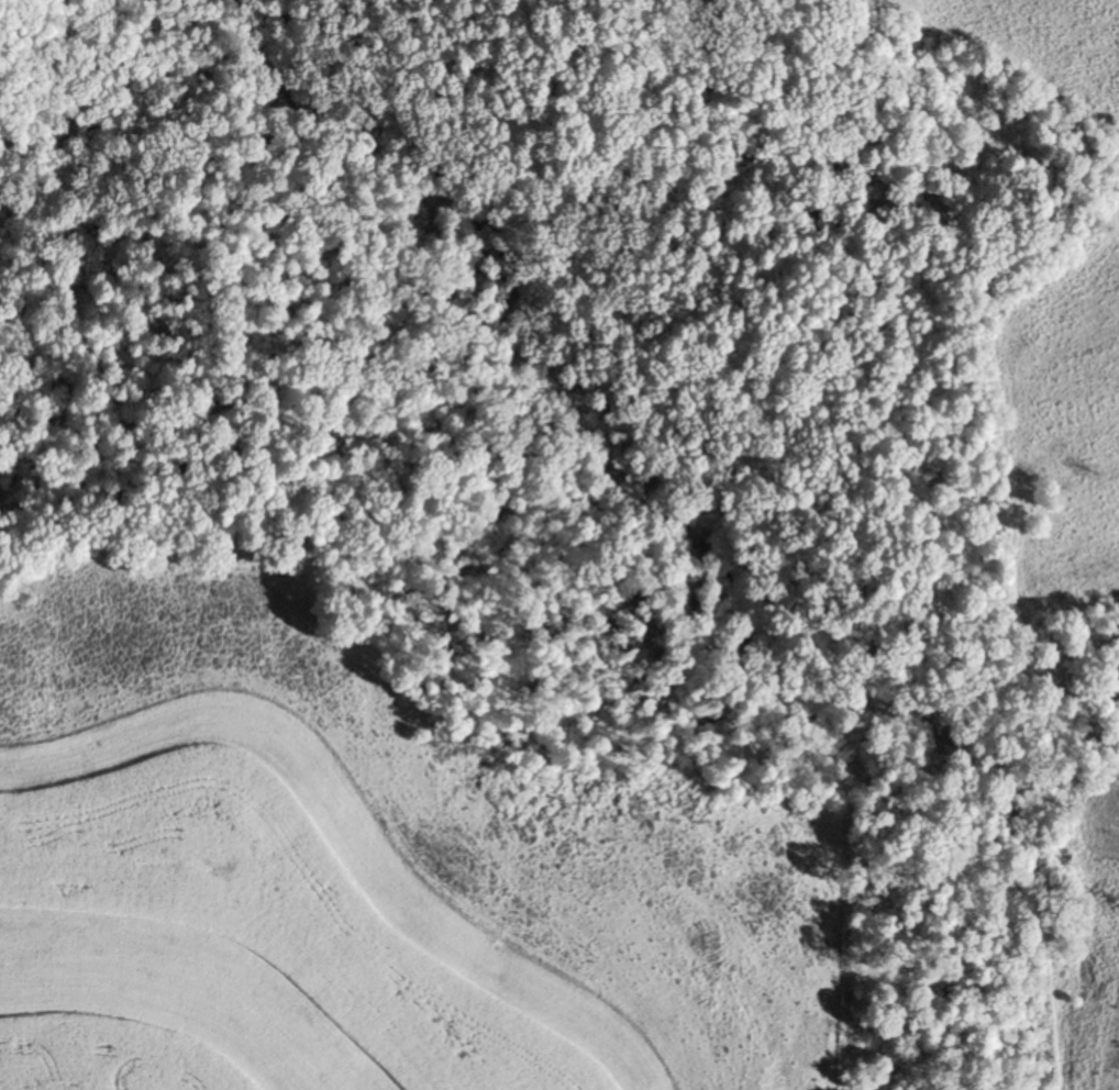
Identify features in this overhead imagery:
crop: (254, 928)

